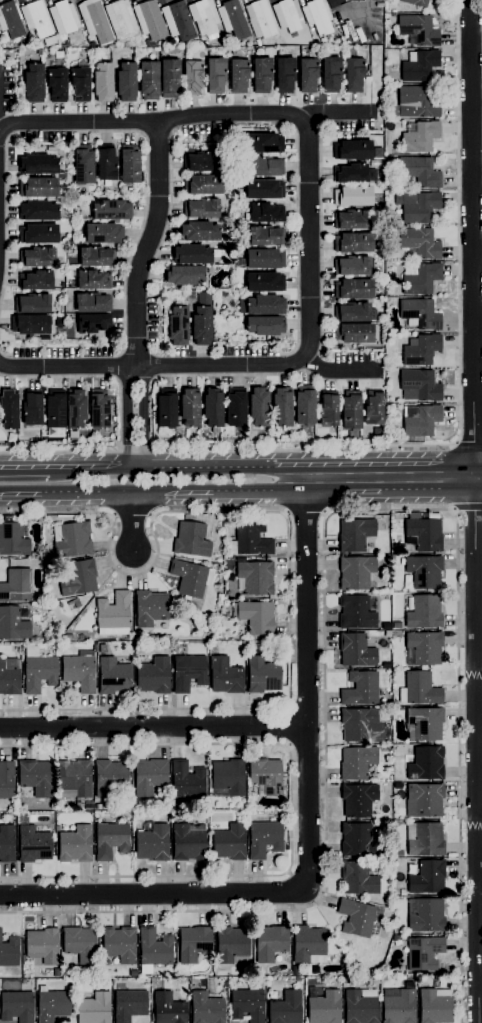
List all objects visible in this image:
building: (415, 2)
building: (287, 15)
building: (64, 17)
building: (317, 17)
building: (37, 18)
building: (120, 18)
building: (205, 18)
building: (233, 19)
building: (261, 19)
building: (10, 20)
building: (150, 20)
building: (95, 21)
building: (178, 21)
building: (418, 30)
building: (4, 38)
building: (50, 41)
building: (147, 44)
building: (204, 44)
building: (39, 52)
building: (419, 66)
building: (285, 74)
building: (331, 74)
building: (353, 74)
building: (216, 75)
building: (262, 75)
building: (307, 75)
building: (238, 76)
building: (192, 77)
building: (170, 78)
building: (149, 81)
building: (103, 82)
building: (126, 82)
building: (33, 83)
building: (80, 83)
building: (57, 84)
building: (386, 87)
building: (416, 103)
road: (184, 117)
building: (420, 137)
building: (263, 143)
building: (352, 150)
building: (201, 161)
building: (106, 162)
building: (37, 164)
building: (130, 164)
building: (83, 165)
building: (264, 166)
building: (419, 171)
building: (350, 174)
building: (203, 185)
building: (38, 187)
building: (263, 190)
building: (352, 196)
building: (201, 208)
building: (421, 208)
building: (110, 210)
building: (38, 211)
road: (169, 211)
building: (266, 213)
road: (6, 216)
building: (78, 216)
road: (143, 219)
building: (354, 220)
building: (199, 231)
road: (473, 232)
building: (103, 233)
building: (38, 234)
building: (264, 235)
road: (296, 235)
road: (308, 238)
road: (321, 238)
building: (353, 242)
building: (420, 243)
road: (147, 245)
building: (194, 255)
building: (94, 256)
building: (37, 257)
building: (261, 259)
building: (352, 266)
building: (185, 275)
building: (421, 278)
building: (92, 280)
building: (36, 281)
building: (264, 282)
building: (354, 289)
building: (377, 292)
building: (32, 303)
building: (90, 303)
building: (262, 305)
building: (354, 312)
building: (419, 314)
building: (178, 322)
building: (93, 323)
building: (30, 324)
building: (201, 325)
building: (264, 326)
building: (354, 333)
building: (421, 349)
road: (4, 354)
road: (190, 366)
road: (236, 375)
building: (419, 386)
road: (460, 390)
building: (236, 407)
building: (259, 407)
building: (281, 407)
building: (99, 408)
building: (166, 408)
building: (189, 408)
building: (374, 408)
building: (9, 409)
building: (55, 409)
building: (75, 409)
building: (213, 409)
building: (305, 409)
building: (328, 409)
building: (32, 410)
building: (351, 413)
road: (127, 416)
road: (143, 416)
road: (119, 417)
building: (420, 422)
building: (378, 432)
building: (72, 436)
road: (470, 439)
road: (478, 464)
road: (374, 466)
road: (209, 467)
road: (96, 468)
road: (24, 469)
road: (427, 489)
road: (478, 489)
road: (258, 490)
road: (342, 490)
road: (173, 491)
road: (87, 492)
road: (20, 493)
road: (305, 514)
road: (468, 514)
road: (132, 522)
building: (423, 533)
building: (355, 535)
building: (72, 539)
building: (250, 539)
building: (13, 540)
building: (191, 540)
building: (397, 547)
road: (323, 550)
road: (289, 555)
building: (424, 571)
building: (356, 572)
building: (256, 577)
building: (79, 578)
building: (190, 578)
building: (16, 586)
building: (220, 597)
building: (150, 608)
building: (423, 612)
building: (356, 613)
building: (113, 614)
building: (256, 617)
building: (14, 623)
building: (396, 625)
building: (386, 626)
building: (396, 633)
building: (424, 648)
building: (101, 649)
building: (356, 650)
building: (38, 671)
building: (189, 672)
building: (79, 673)
building: (263, 675)
building: (114, 676)
building: (153, 676)
building: (225, 676)
building: (9, 677)
building: (360, 689)
building: (419, 689)
building: (424, 723)
building: (360, 725)
road: (285, 726)
road: (153, 729)
road: (476, 743)
building: (357, 762)
building: (426, 763)
building: (149, 776)
building: (266, 776)
building: (35, 777)
building: (229, 777)
building: (111, 779)
building: (6, 780)
building: (74, 780)
building: (187, 780)
building: (397, 786)
building: (358, 800)
building: (424, 800)
building: (89, 806)
building: (98, 806)
road: (290, 810)
road: (308, 834)
building: (264, 839)
building: (424, 839)
building: (110, 840)
building: (358, 841)
building: (188, 842)
building: (7, 843)
building: (153, 843)
building: (229, 843)
building: (33, 844)
building: (75, 845)
building: (398, 853)
building: (358, 878)
building: (428, 878)
building: (402, 892)
road: (479, 895)
building: (387, 901)
building: (425, 915)
building: (356, 918)
building: (193, 943)
building: (270, 943)
building: (80, 944)
building: (119, 944)
building: (232, 945)
building: (309, 945)
building: (43, 946)
building: (154, 949)
building: (9, 952)
building: (424, 953)
building: (294, 971)
building: (435, 976)
building: (193, 981)
building: (272, 995)
building: (53, 1005)
building: (129, 1005)
building: (247, 1005)
building: (17, 1006)
building: (360, 1006)
building: (435, 1006)
building: (324, 1007)
building: (399, 1007)
building: (206, 1008)
building: (286, 1008)
building: (94, 1009)
building: (168, 1009)

